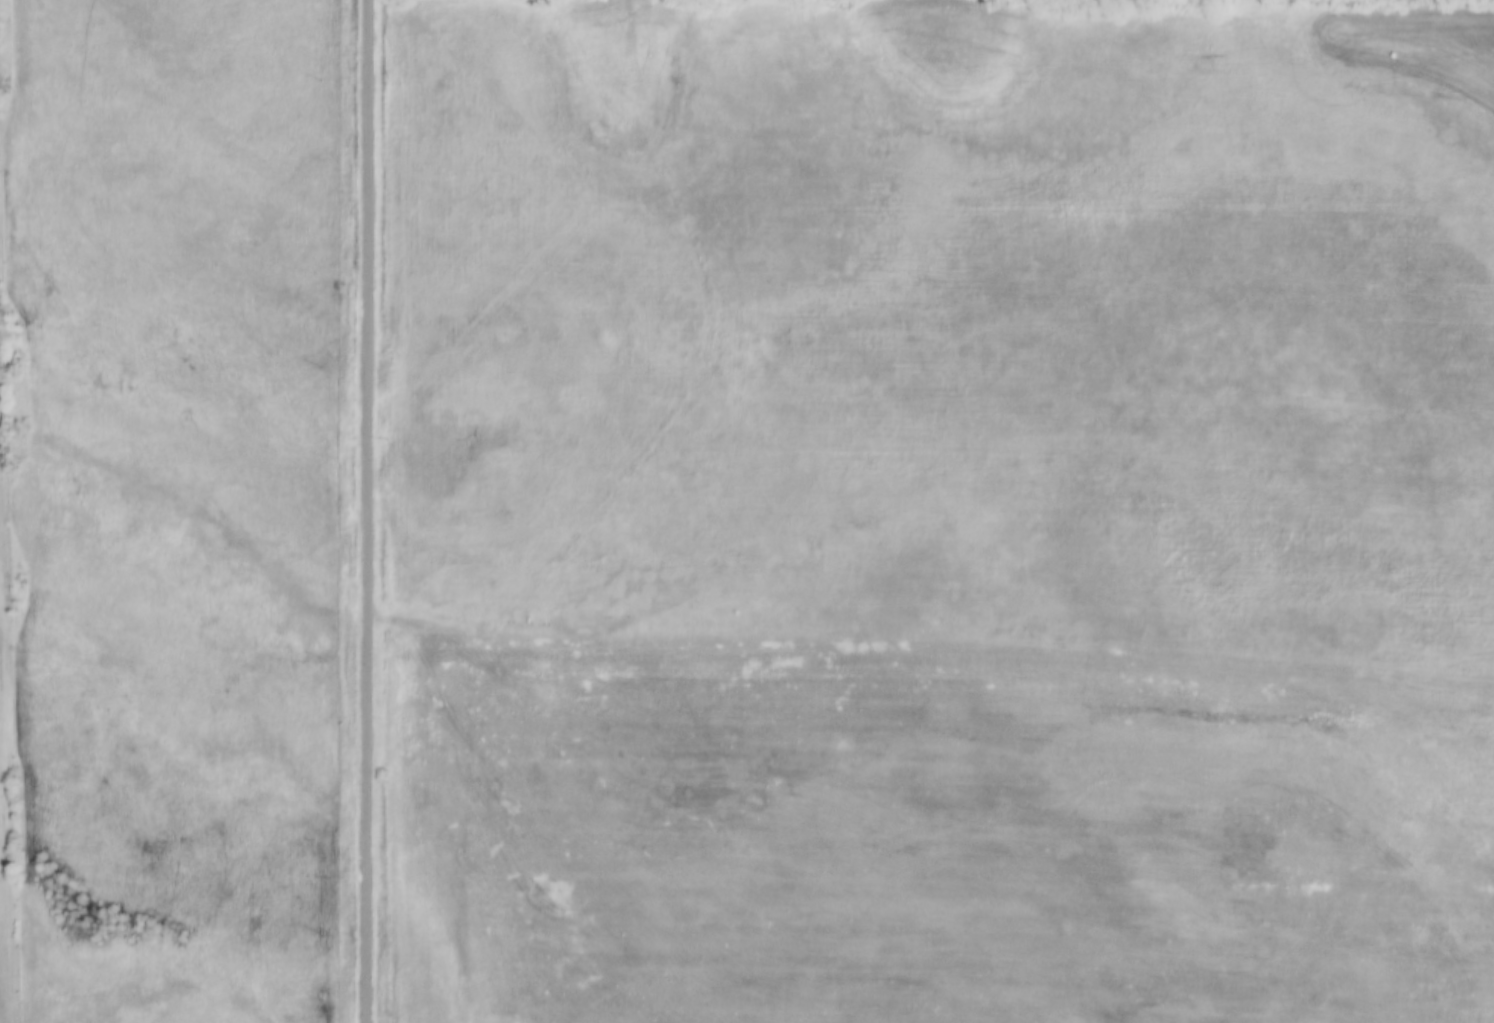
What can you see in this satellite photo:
road: (364, 511)
road: (1, 808)

